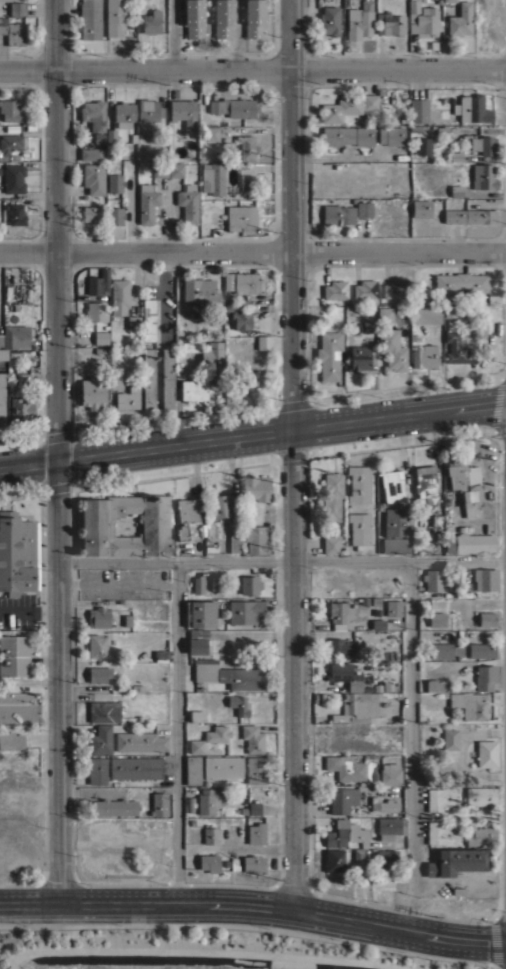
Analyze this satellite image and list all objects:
building: (7, 0)
building: (450, 0)
building: (413, 6)
building: (18, 8)
building: (115, 17)
building: (193, 18)
building: (223, 18)
building: (254, 18)
building: (90, 19)
building: (460, 19)
building: (330, 20)
building: (424, 21)
building: (151, 22)
building: (357, 22)
building: (393, 24)
building: (12, 31)
road: (172, 33)
road: (253, 67)
building: (347, 106)
building: (233, 107)
building: (472, 108)
building: (11, 110)
building: (149, 110)
building: (418, 110)
building: (183, 112)
building: (123, 113)
building: (93, 114)
building: (211, 132)
building: (347, 135)
building: (391, 135)
building: (111, 136)
building: (96, 137)
building: (9, 144)
building: (423, 145)
building: (482, 145)
building: (247, 146)
building: (91, 151)
road: (333, 155)
building: (159, 170)
building: (175, 170)
building: (483, 176)
building: (13, 178)
building: (93, 178)
building: (212, 178)
building: (247, 181)
building: (114, 182)
building: (456, 191)
building: (188, 204)
building: (147, 205)
building: (364, 208)
building: (420, 208)
building: (16, 214)
building: (91, 214)
building: (338, 214)
building: (114, 215)
building: (475, 216)
building: (241, 218)
road: (253, 250)
building: (227, 281)
building: (461, 282)
building: (246, 283)
building: (97, 284)
building: (395, 288)
building: (335, 289)
building: (365, 289)
building: (200, 292)
building: (119, 296)
building: (95, 311)
building: (453, 311)
building: (426, 314)
building: (385, 315)
building: (148, 319)
building: (241, 320)
building: (133, 321)
building: (369, 326)
building: (182, 329)
building: (16, 336)
building: (101, 337)
building: (0, 339)
building: (263, 341)
building: (456, 344)
building: (187, 347)
building: (392, 349)
building: (3, 354)
building: (329, 355)
building: (424, 356)
building: (360, 359)
building: (213, 361)
building: (22, 376)
building: (115, 377)
building: (148, 378)
building: (167, 378)
building: (247, 378)
building: (194, 390)
building: (92, 392)
building: (128, 397)
building: (2, 399)
building: (20, 409)
road: (253, 440)
road: (57, 451)
road: (291, 453)
building: (425, 482)
building: (359, 484)
building: (466, 485)
building: (392, 486)
building: (256, 488)
building: (331, 496)
building: (220, 506)
building: (186, 515)
building: (438, 520)
building: (396, 522)
building: (97, 526)
building: (359, 528)
building: (256, 539)
building: (470, 543)
building: (234, 545)
building: (330, 545)
building: (397, 545)
building: (18, 553)
road: (281, 560)
building: (485, 578)
building: (434, 579)
road: (116, 582)
building: (216, 584)
building: (248, 584)
building: (197, 585)
building: (1, 595)
building: (27, 602)
building: (393, 609)
building: (244, 611)
building: (201, 613)
building: (340, 613)
building: (99, 617)
building: (437, 619)
building: (487, 619)
building: (377, 623)
building: (197, 641)
building: (96, 645)
building: (338, 646)
building: (444, 650)
building: (482, 650)
building: (14, 655)
building: (161, 655)
building: (98, 674)
building: (228, 674)
building: (345, 675)
building: (486, 678)
building: (436, 685)
building: (470, 704)
building: (238, 705)
road: (29, 707)
building: (356, 708)
building: (104, 712)
building: (196, 715)
road: (175, 730)
building: (209, 738)
building: (252, 738)
building: (100, 739)
building: (450, 739)
building: (11, 740)
building: (140, 741)
road: (410, 744)
building: (486, 753)
building: (222, 767)
building: (345, 767)
building: (135, 768)
building: (255, 769)
building: (97, 770)
building: (193, 770)
building: (390, 774)
road: (117, 789)
building: (481, 795)
building: (440, 797)
building: (208, 799)
building: (342, 799)
building: (159, 804)
building: (383, 804)
building: (114, 807)
building: (254, 808)
building: (392, 825)
building: (256, 833)
building: (335, 833)
building: (442, 834)
building: (210, 835)
building: (481, 836)
building: (358, 855)
building: (386, 857)
building: (335, 860)
building: (456, 861)
building: (209, 863)
building: (253, 864)
road: (428, 882)
road: (254, 902)

